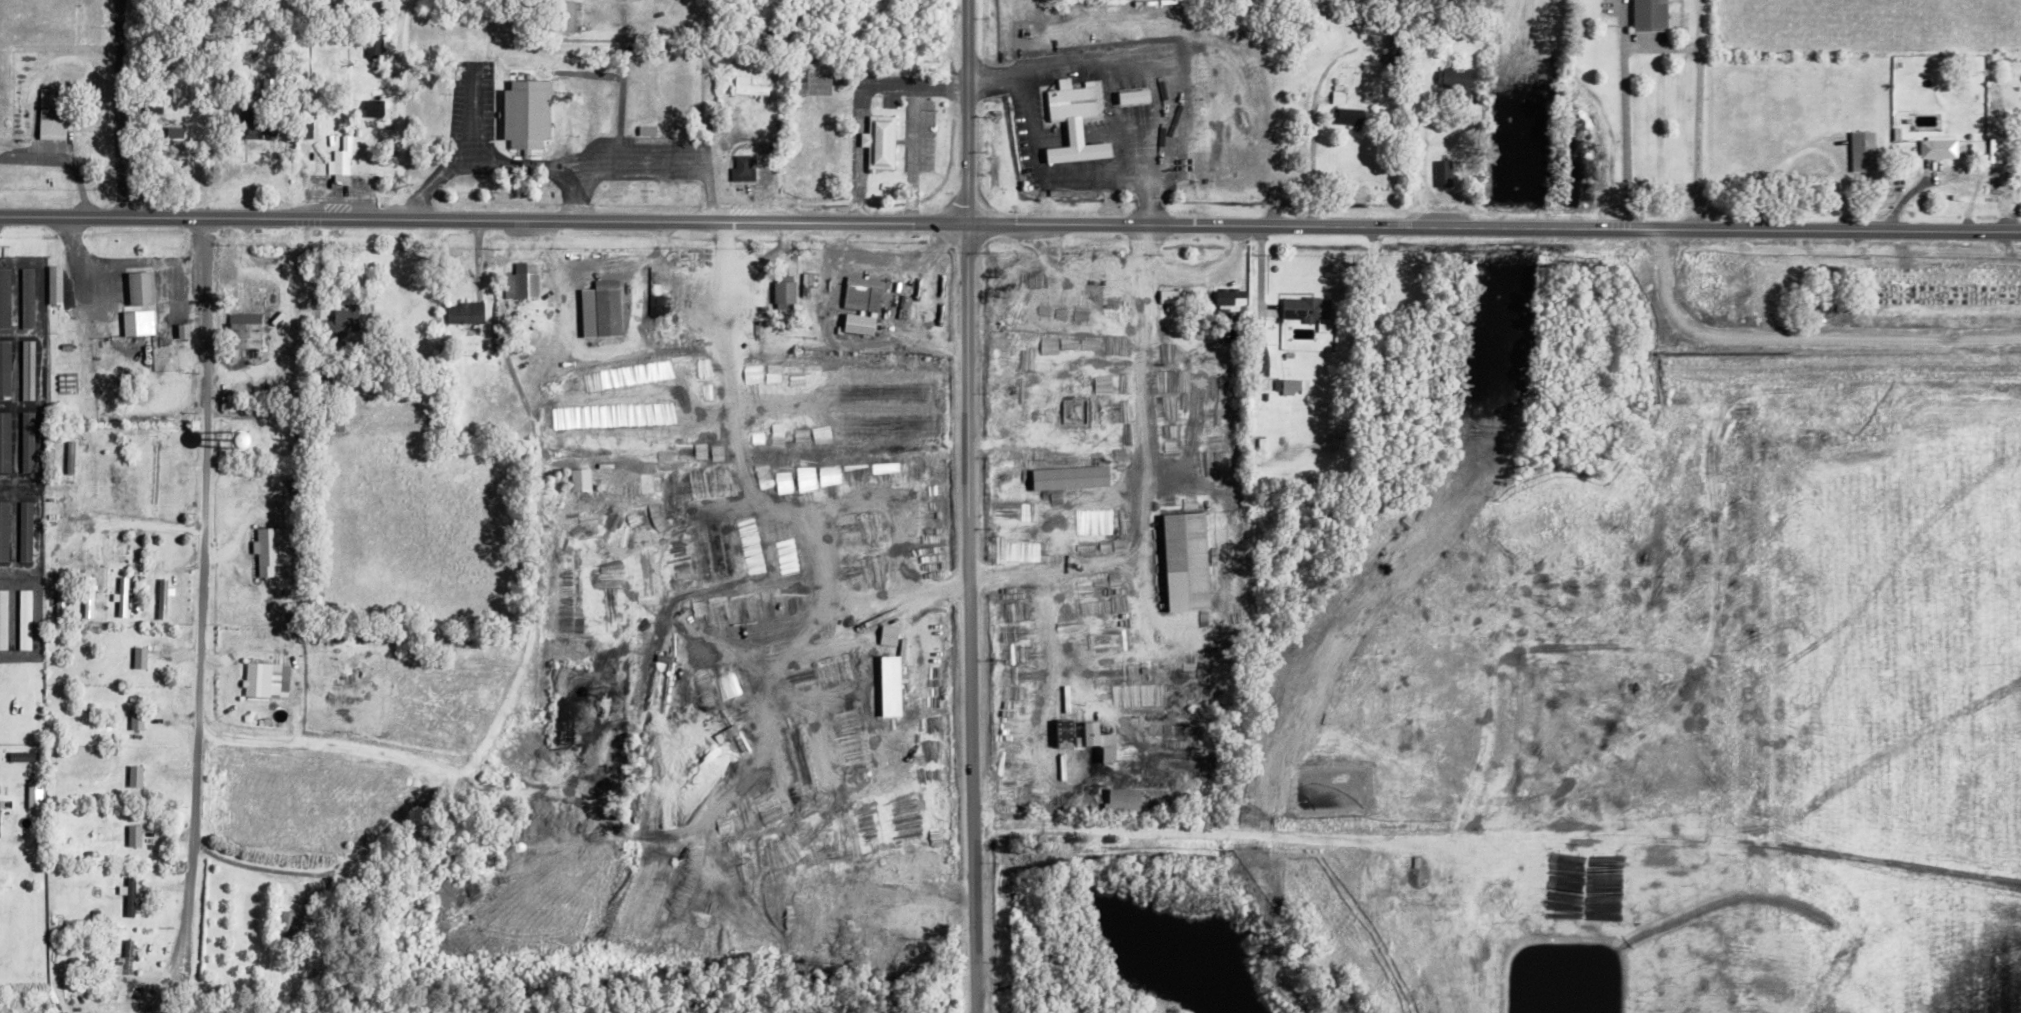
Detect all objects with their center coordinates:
building: (1653, 15)
building: (568, 16)
road: (404, 38)
road: (1653, 45)
building: (375, 47)
building: (1393, 49)
building: (1457, 78)
road: (1319, 80)
building: (750, 87)
building: (1340, 94)
road: (389, 96)
building: (1132, 96)
road: (859, 100)
road: (126, 106)
building: (376, 108)
road: (966, 111)
building: (530, 113)
building: (53, 114)
building: (1349, 116)
building: (1076, 122)
building: (249, 123)
building: (308, 128)
building: (271, 131)
building: (176, 132)
building: (882, 142)
road: (1817, 143)
building: (1940, 147)
building: (1866, 150)
building: (1997, 150)
road: (912, 152)
road: (62, 158)
road: (1427, 160)
building: (342, 161)
road: (496, 165)
road: (659, 167)
building: (745, 168)
road: (1040, 170)
road: (1314, 173)
building: (1445, 173)
road: (1010, 221)
road: (2008, 245)
road: (889, 256)
road: (114, 260)
road: (1261, 267)
road: (1077, 268)
road: (1186, 275)
building: (524, 281)
building: (56, 284)
building: (143, 288)
building: (864, 293)
building: (785, 294)
building: (5, 297)
building: (28, 298)
building: (1175, 299)
building: (1234, 299)
building: (1114, 300)
building: (1832, 305)
building: (604, 309)
building: (1308, 309)
building: (468, 312)
building: (861, 324)
building: (185, 330)
building: (248, 333)
building: (5, 369)
building: (29, 370)
building: (1293, 386)
building: (259, 440)
building: (5, 442)
building: (28, 442)
building: (1074, 477)
building: (582, 480)
building: (648, 486)
road: (127, 521)
building: (5, 530)
building: (27, 531)
building: (273, 549)
building: (1190, 562)
road: (598, 573)
building: (62, 595)
building: (90, 597)
building: (123, 597)
road: (193, 614)
road: (966, 617)
building: (4, 619)
building: (26, 620)
building: (891, 635)
road: (529, 641)
building: (142, 657)
building: (268, 680)
building: (889, 689)
building: (138, 719)
building: (1067, 728)
building: (25, 756)
building: (137, 776)
building: (1128, 800)
building: (0, 823)
building: (135, 836)
road: (239, 861)
building: (1574, 867)
building: (132, 897)
building: (290, 924)
building: (1453, 944)
building: (1632, 945)
building: (125, 960)
building: (1626, 991)

